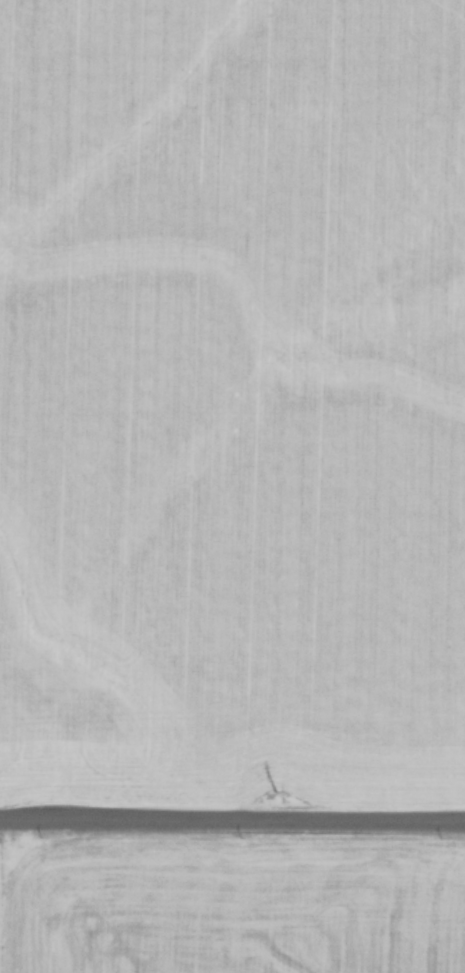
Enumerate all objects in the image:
road: (232, 818)

